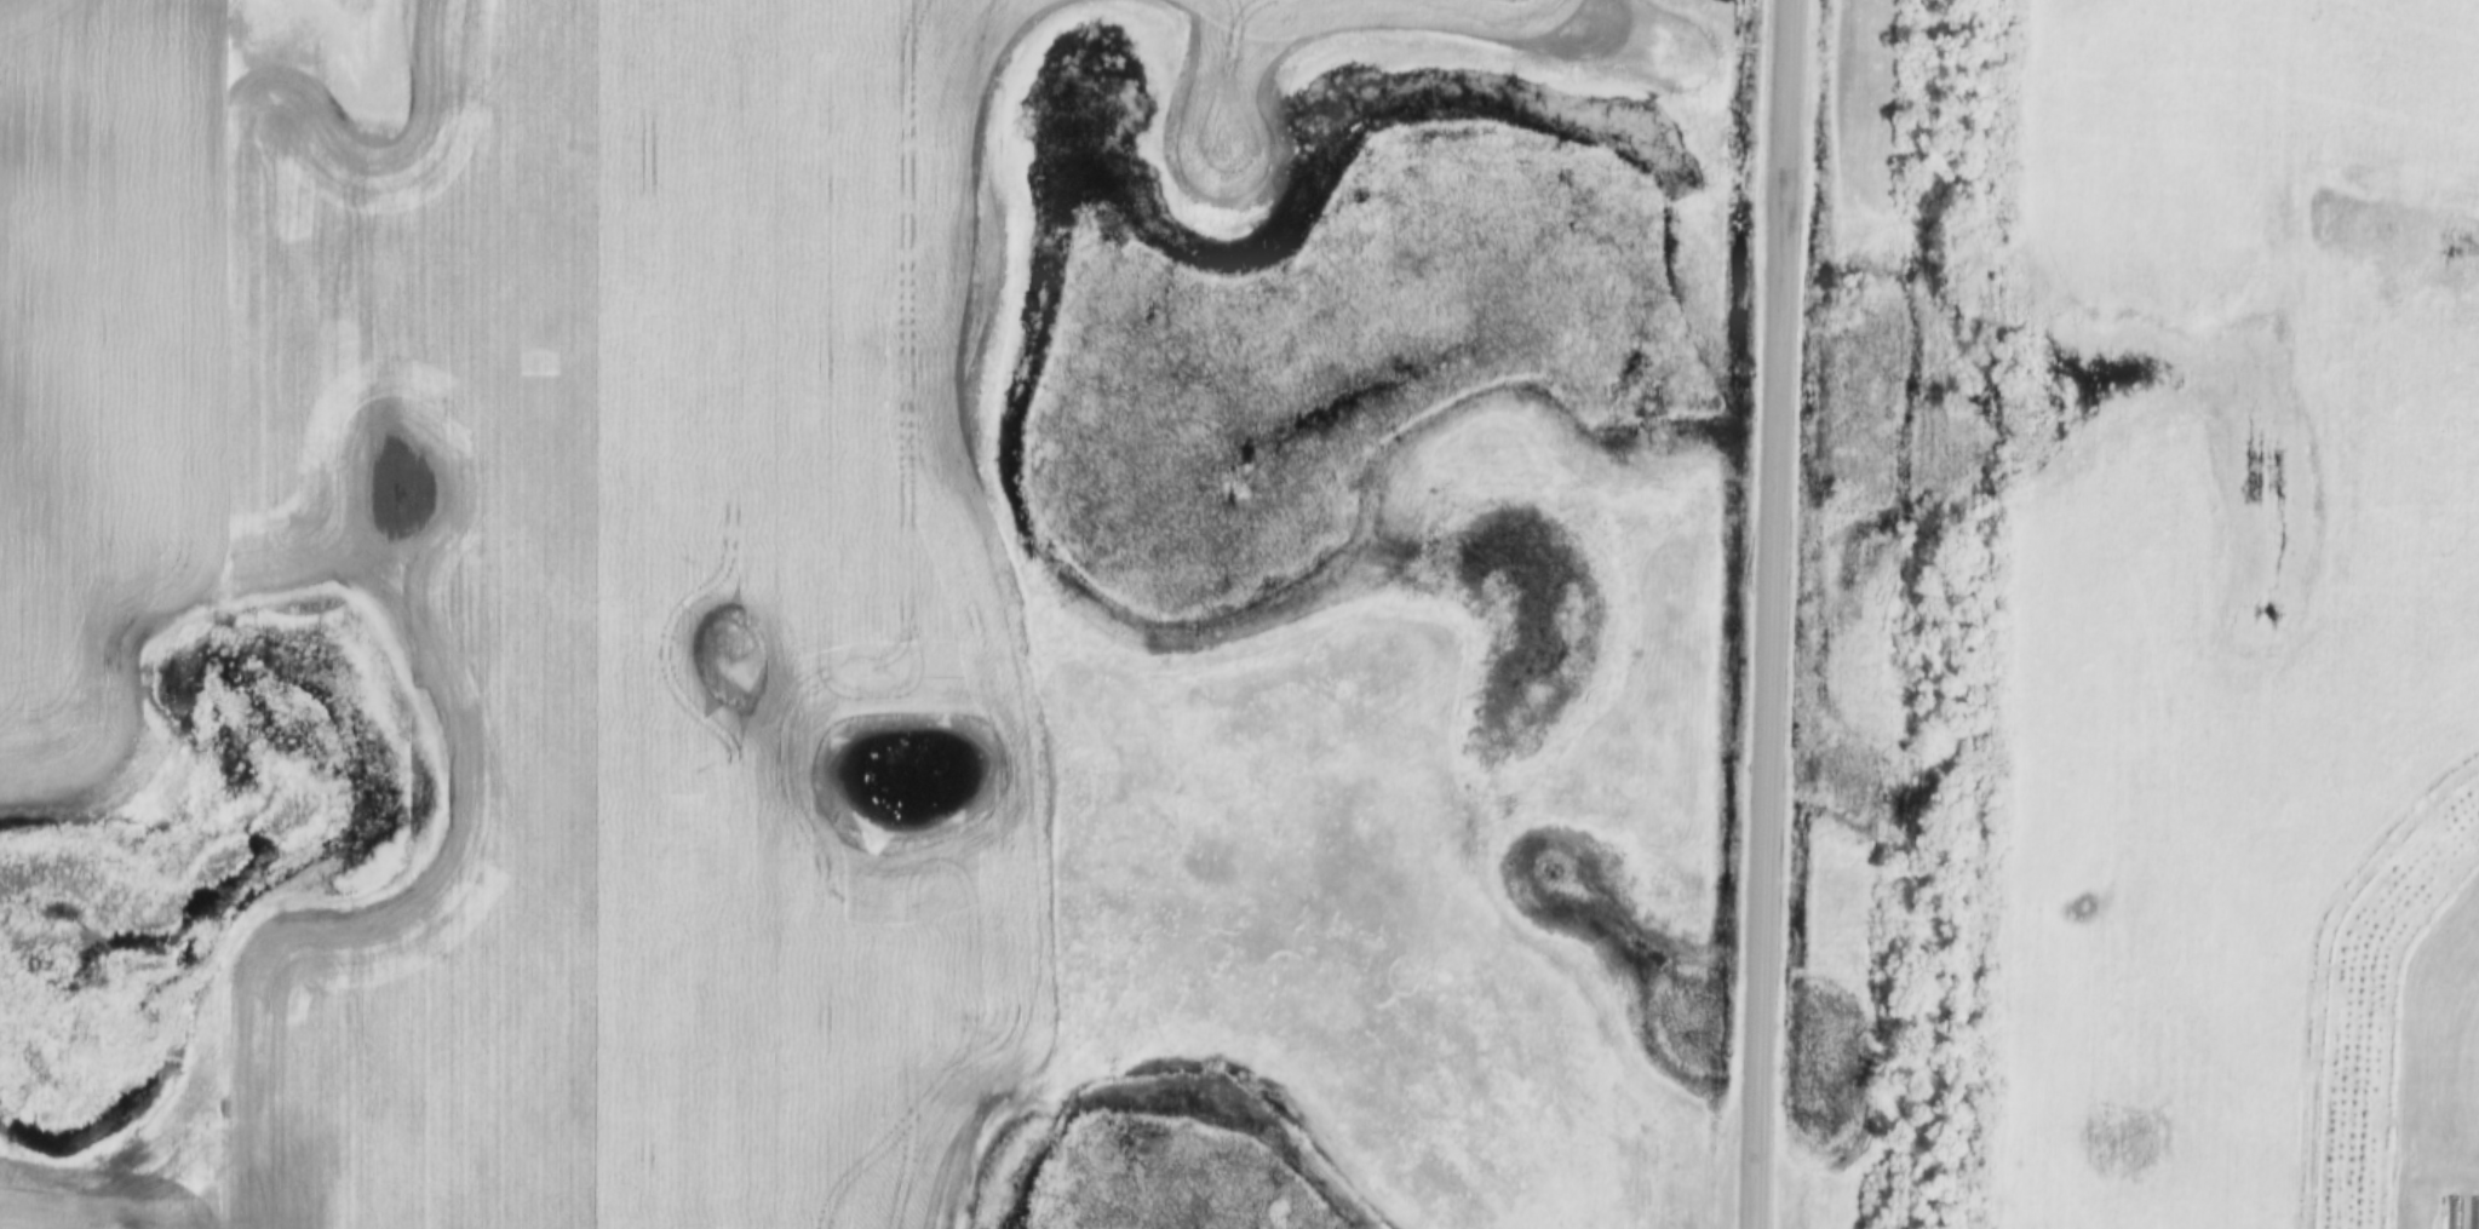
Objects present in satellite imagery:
building: (2358, 427)
road: (1771, 614)

